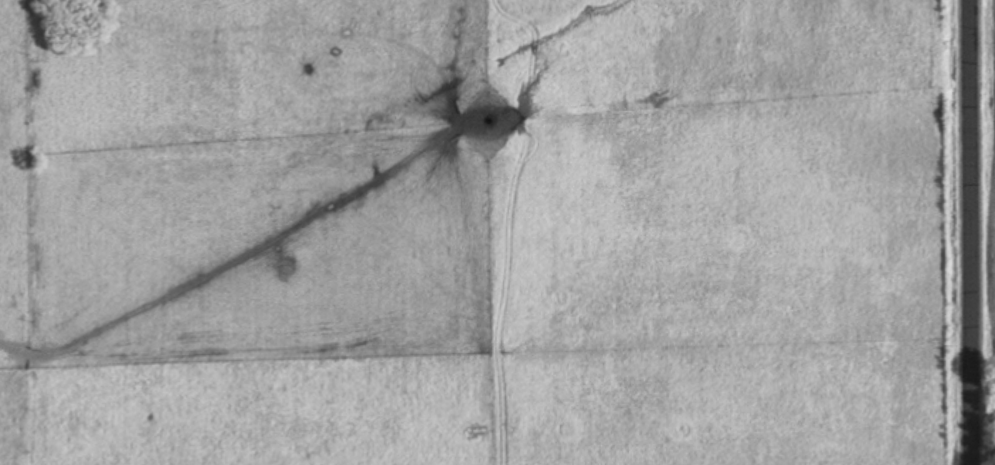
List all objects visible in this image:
road: (971, 232)

